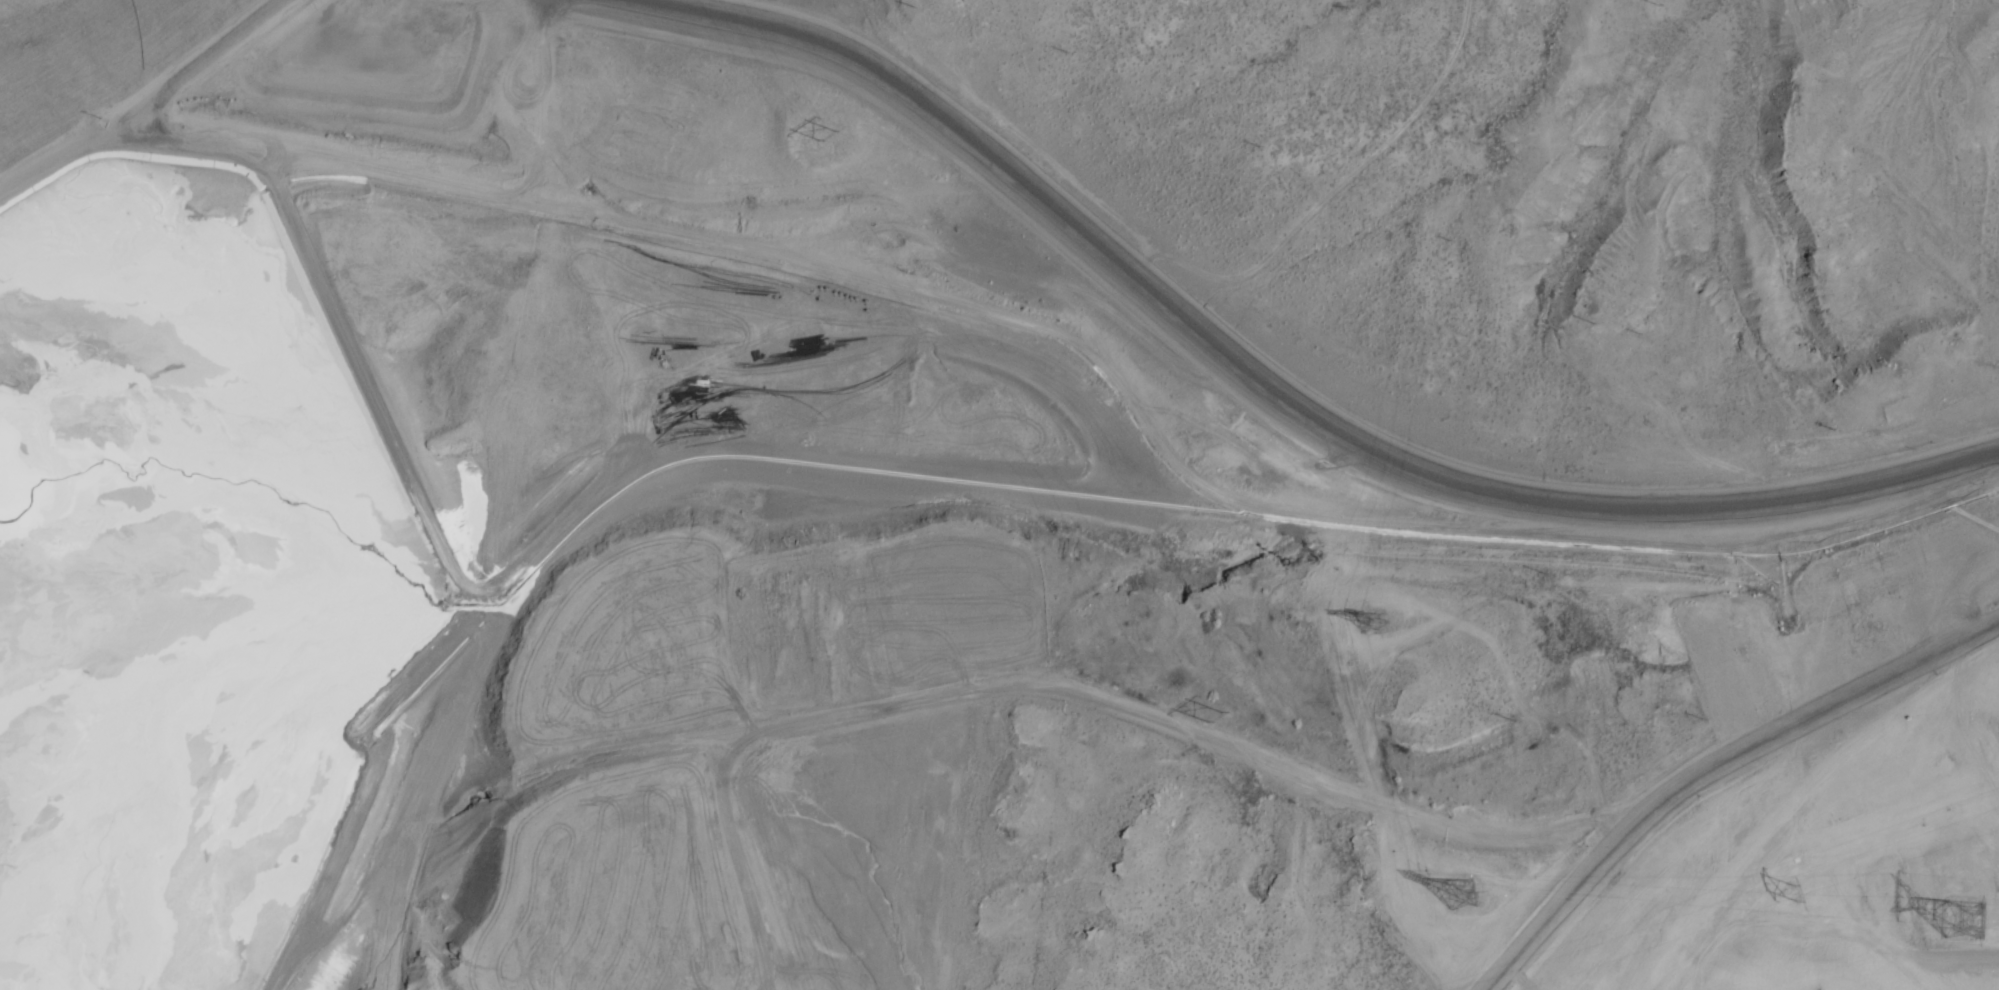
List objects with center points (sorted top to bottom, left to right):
power tower: (824, 128)
road: (1341, 390)
power tower: (1372, 617)
power tower: (1209, 701)
road: (1714, 771)
power tower: (1460, 886)
power tower: (1794, 887)
power tower: (1964, 913)

